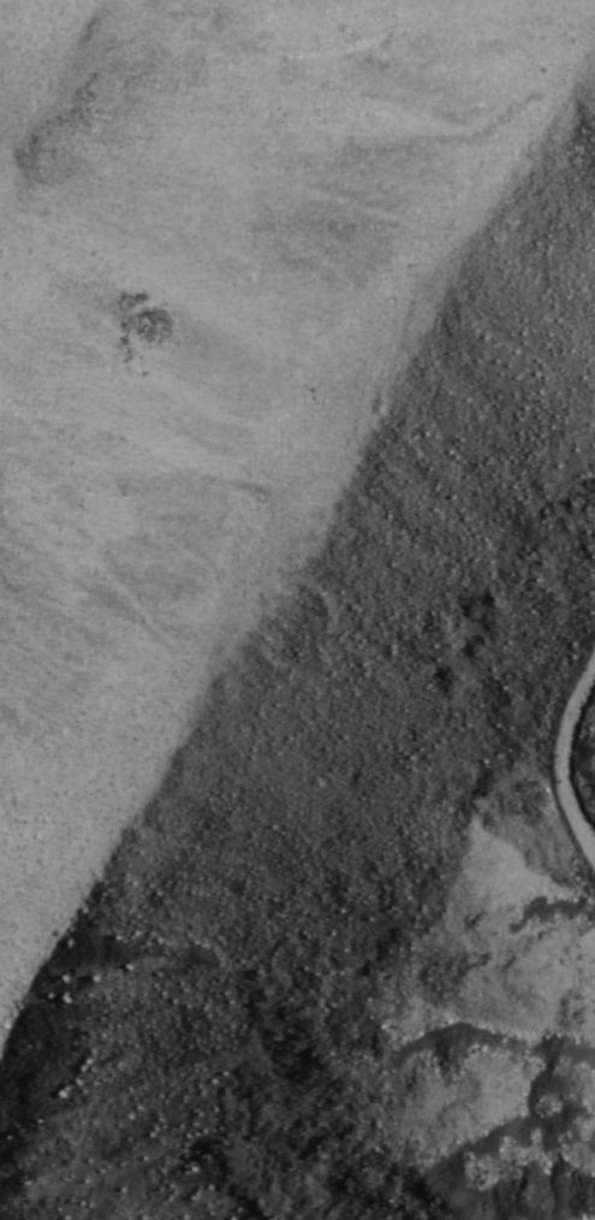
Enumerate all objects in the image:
road: (554, 769)

